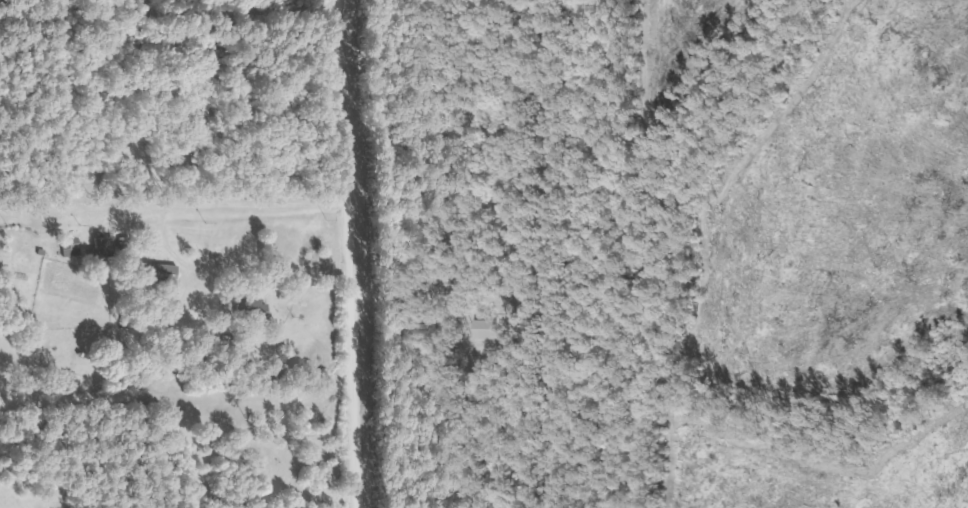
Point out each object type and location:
road: (158, 7)
road: (169, 14)
road: (171, 206)
road: (117, 213)
building: (67, 246)
building: (101, 246)
road: (343, 256)
building: (156, 273)
road: (337, 300)
building: (249, 309)
road: (171, 398)

